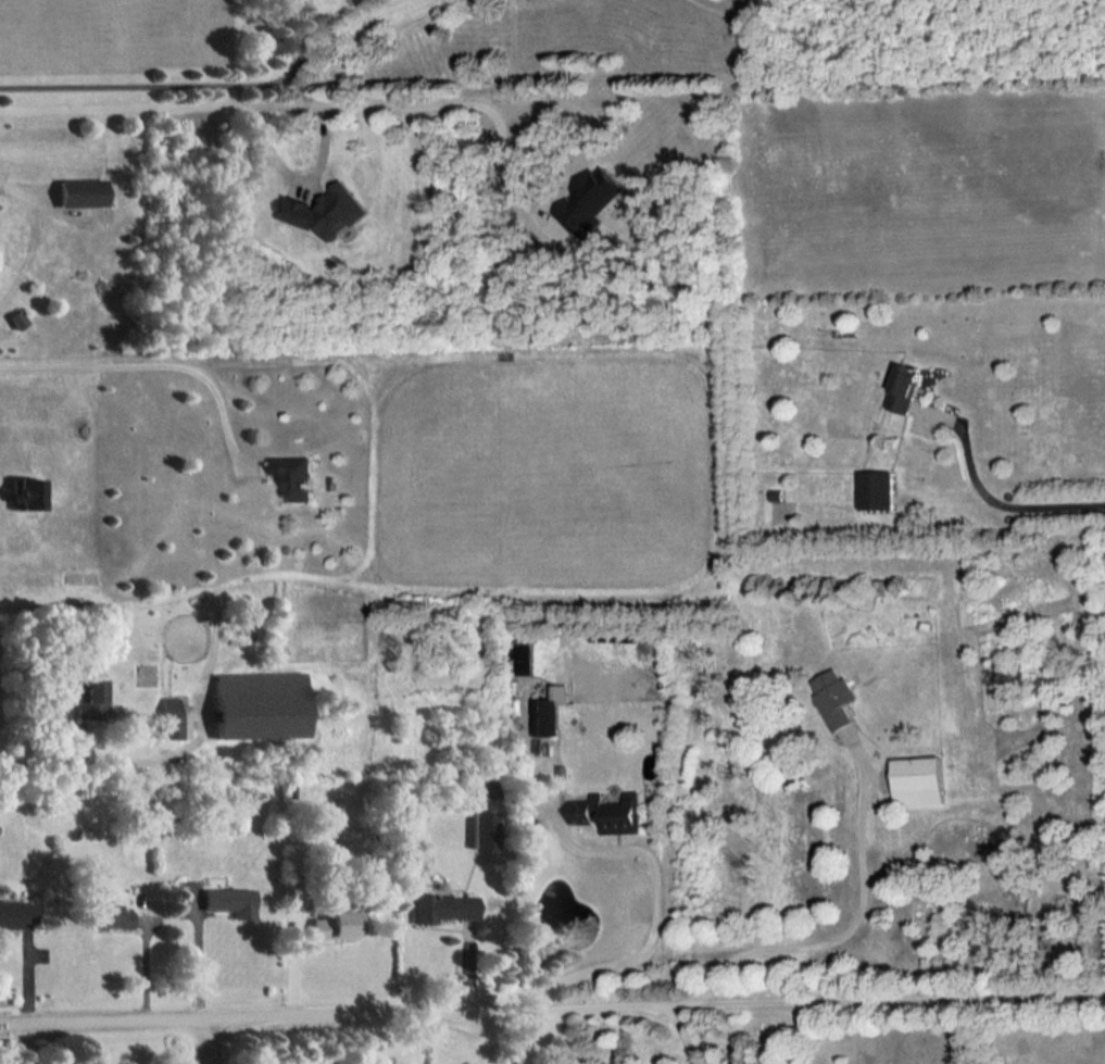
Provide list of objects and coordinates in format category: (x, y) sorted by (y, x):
road: (183, 82)
road: (240, 102)
road: (586, 150)
road: (307, 189)
building: (84, 191)
building: (591, 201)
building: (325, 210)
building: (20, 318)
road: (167, 363)
building: (904, 387)
building: (294, 475)
building: (876, 489)
road: (4, 497)
road: (1005, 502)
building: (525, 658)
building: (834, 697)
building: (89, 698)
building: (260, 703)
building: (549, 711)
building: (174, 717)
road: (41, 760)
building: (919, 779)
building: (489, 789)
building: (610, 812)
building: (482, 828)
building: (231, 900)
building: (443, 906)
road: (656, 906)
building: (16, 912)
building: (111, 915)
building: (336, 924)
road: (839, 939)
road: (199, 956)
road: (901, 999)
road: (591, 1009)
road: (242, 1019)
road: (209, 1042)

